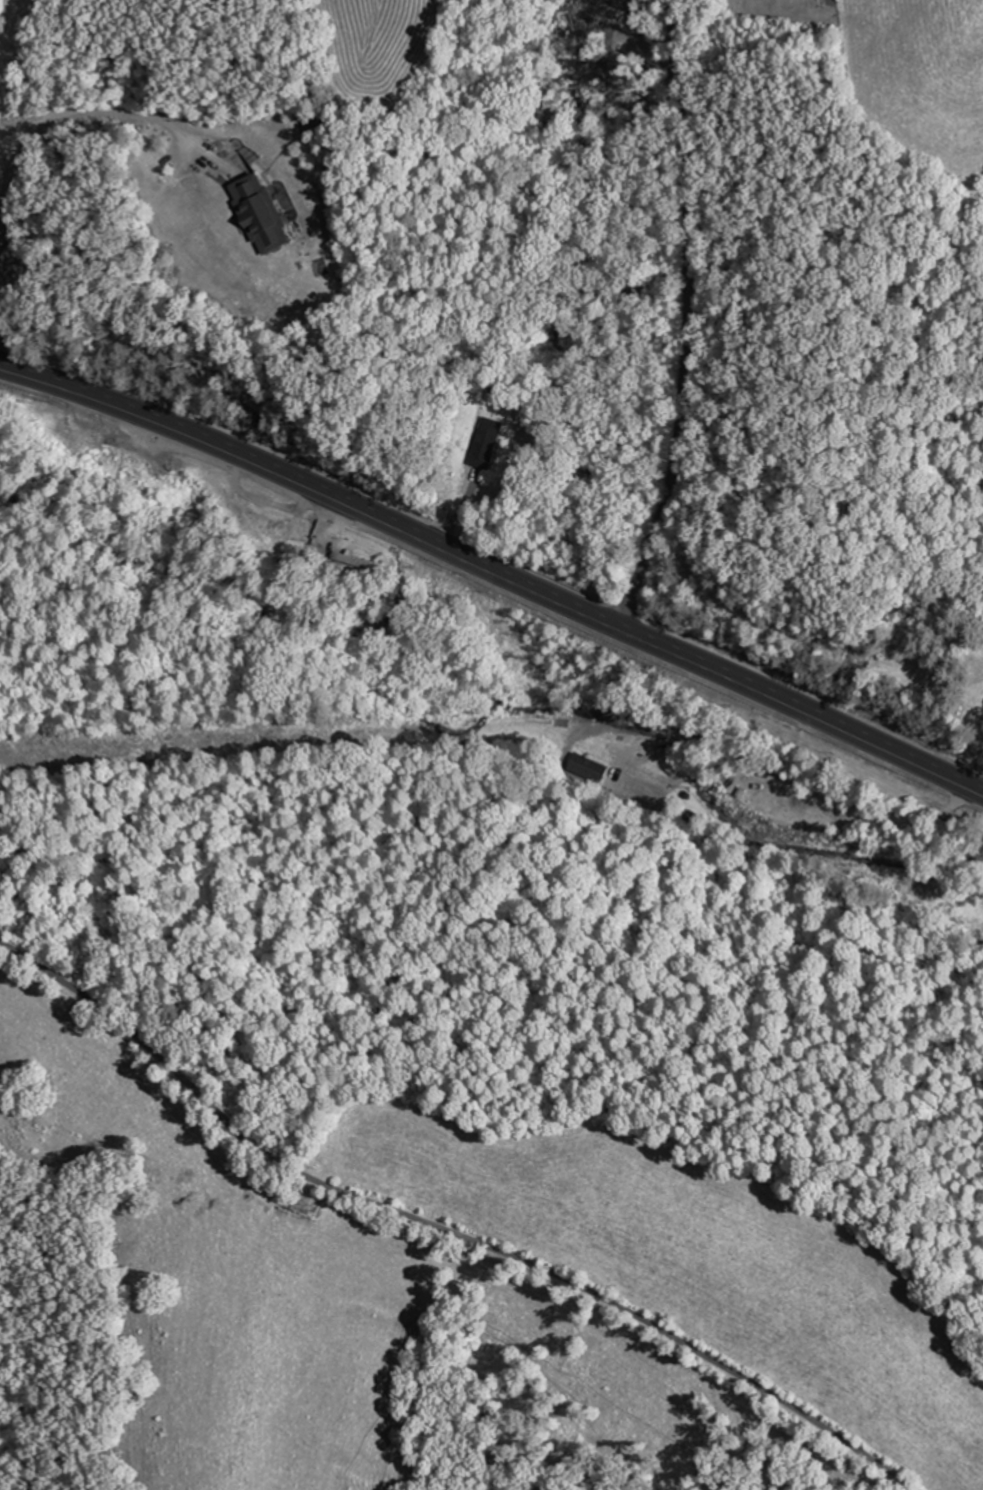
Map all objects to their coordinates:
building: (263, 213)
road: (685, 319)
building: (487, 443)
building: (262, 516)
road: (495, 575)
road: (442, 1228)

